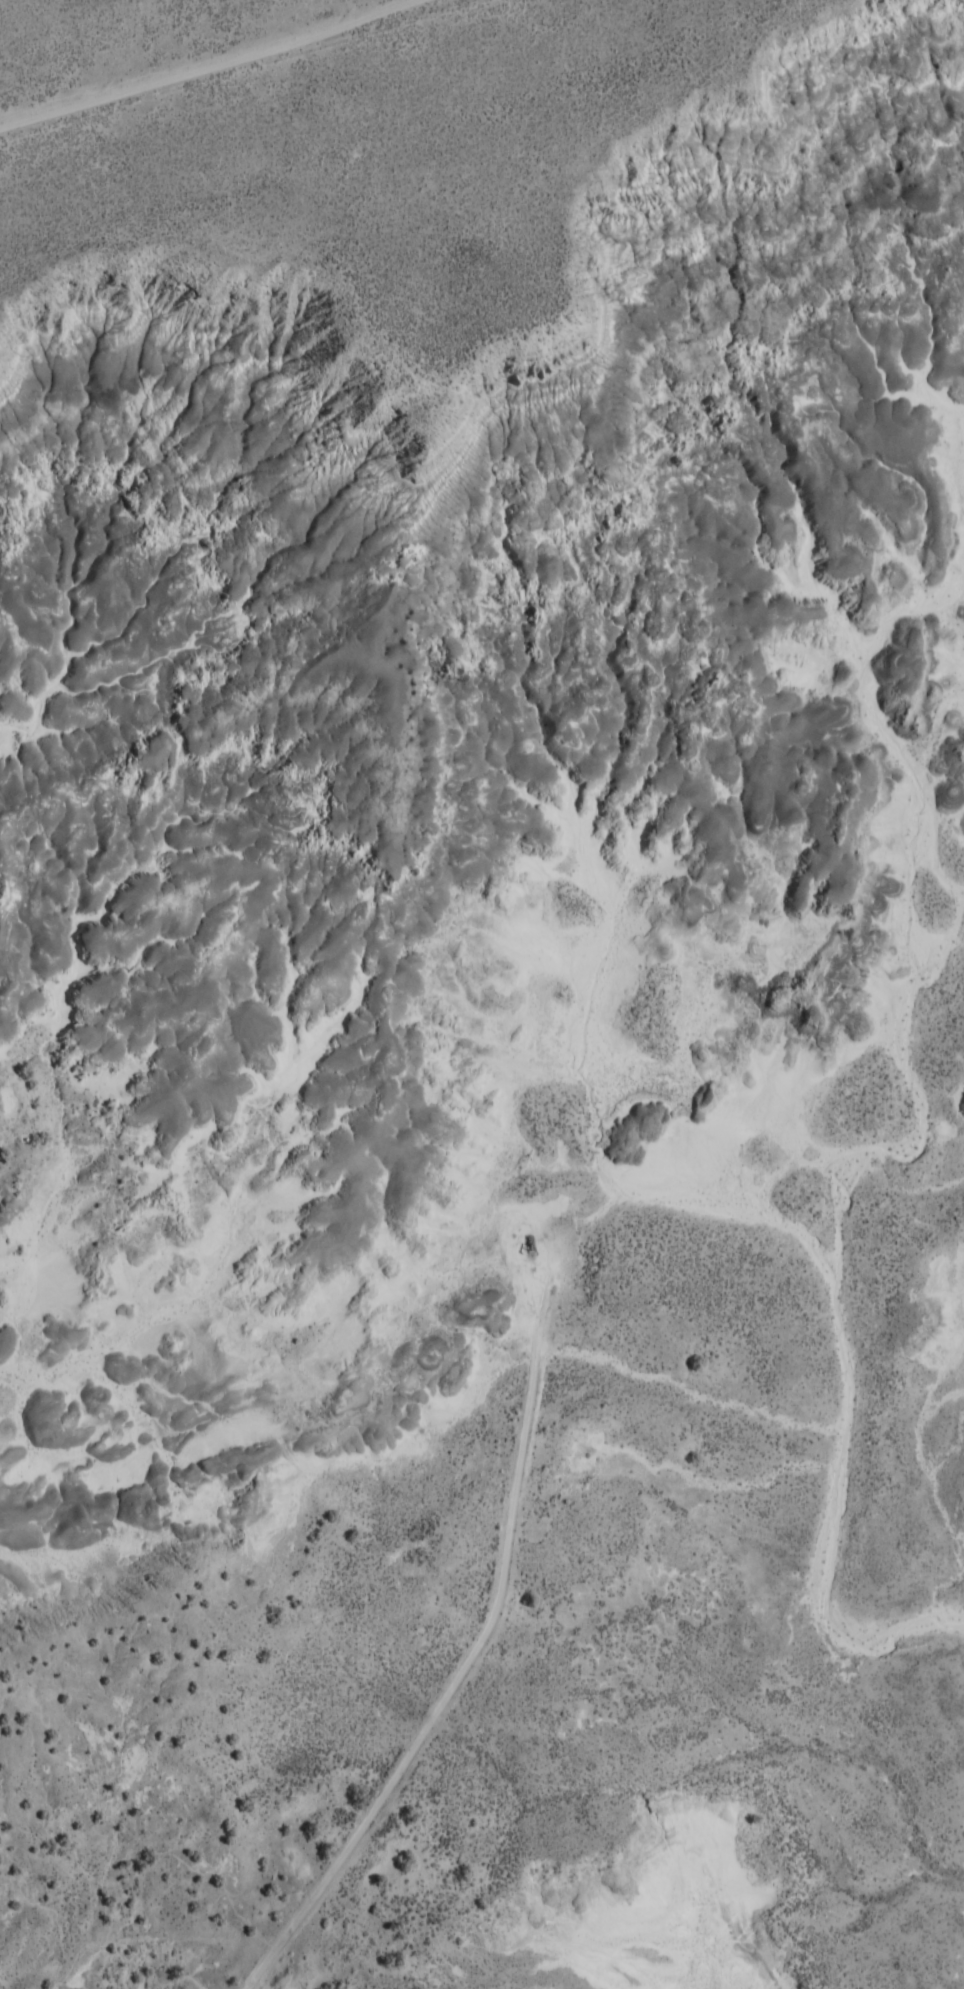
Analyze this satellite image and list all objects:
road: (153, 43)

